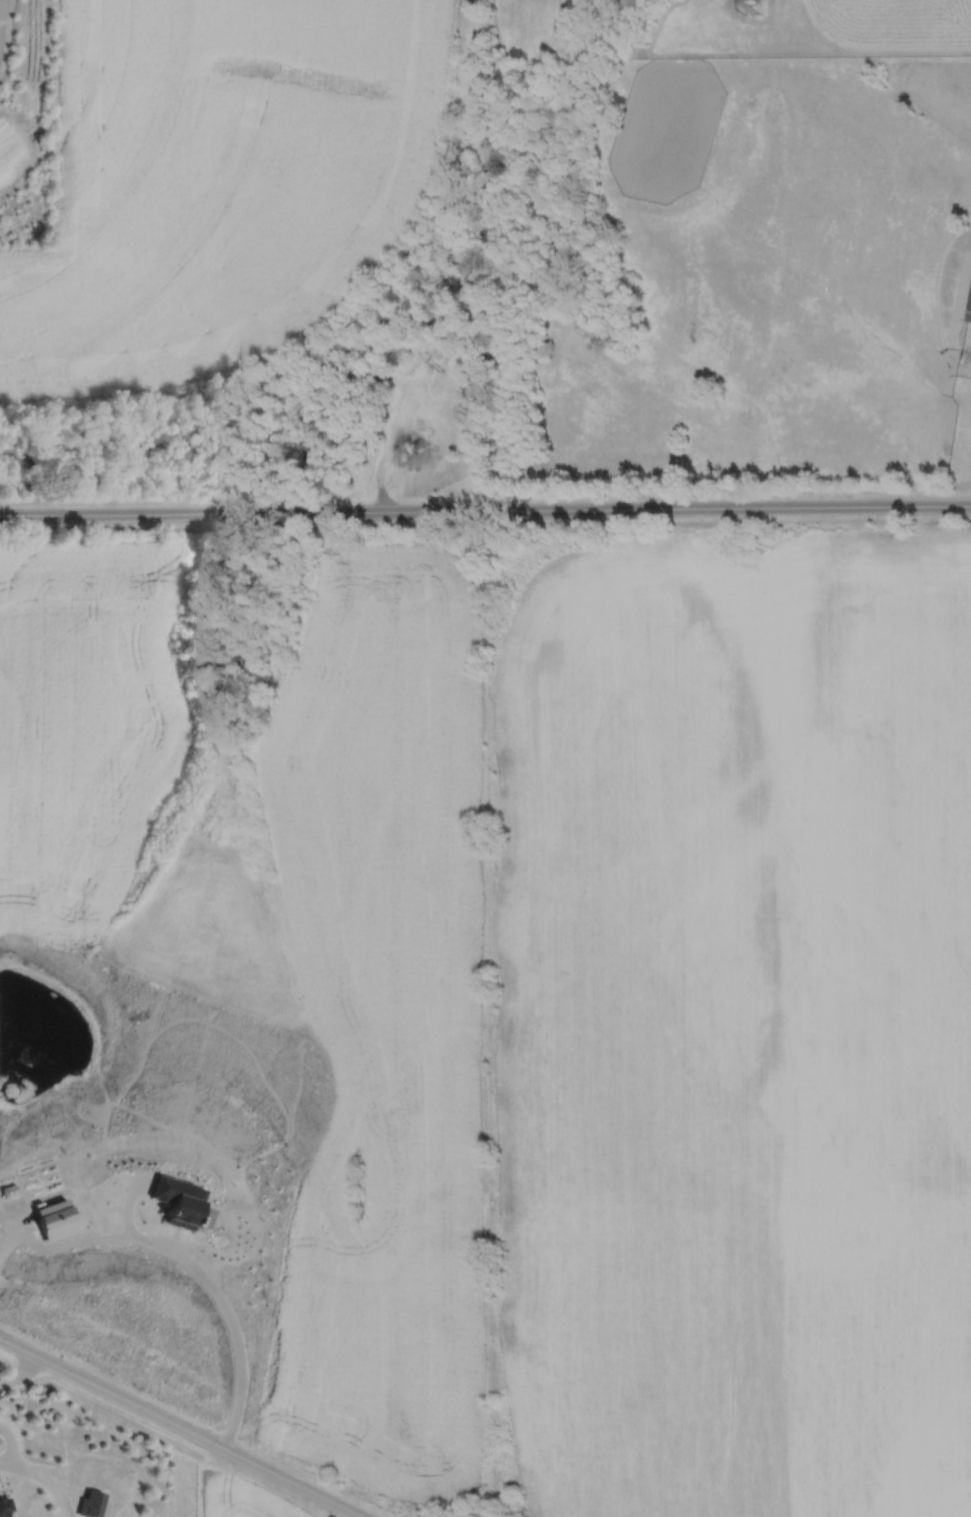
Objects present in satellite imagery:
building: (969, 309)
road: (485, 511)
road: (188, 1261)
road: (19, 1373)
road: (179, 1428)

